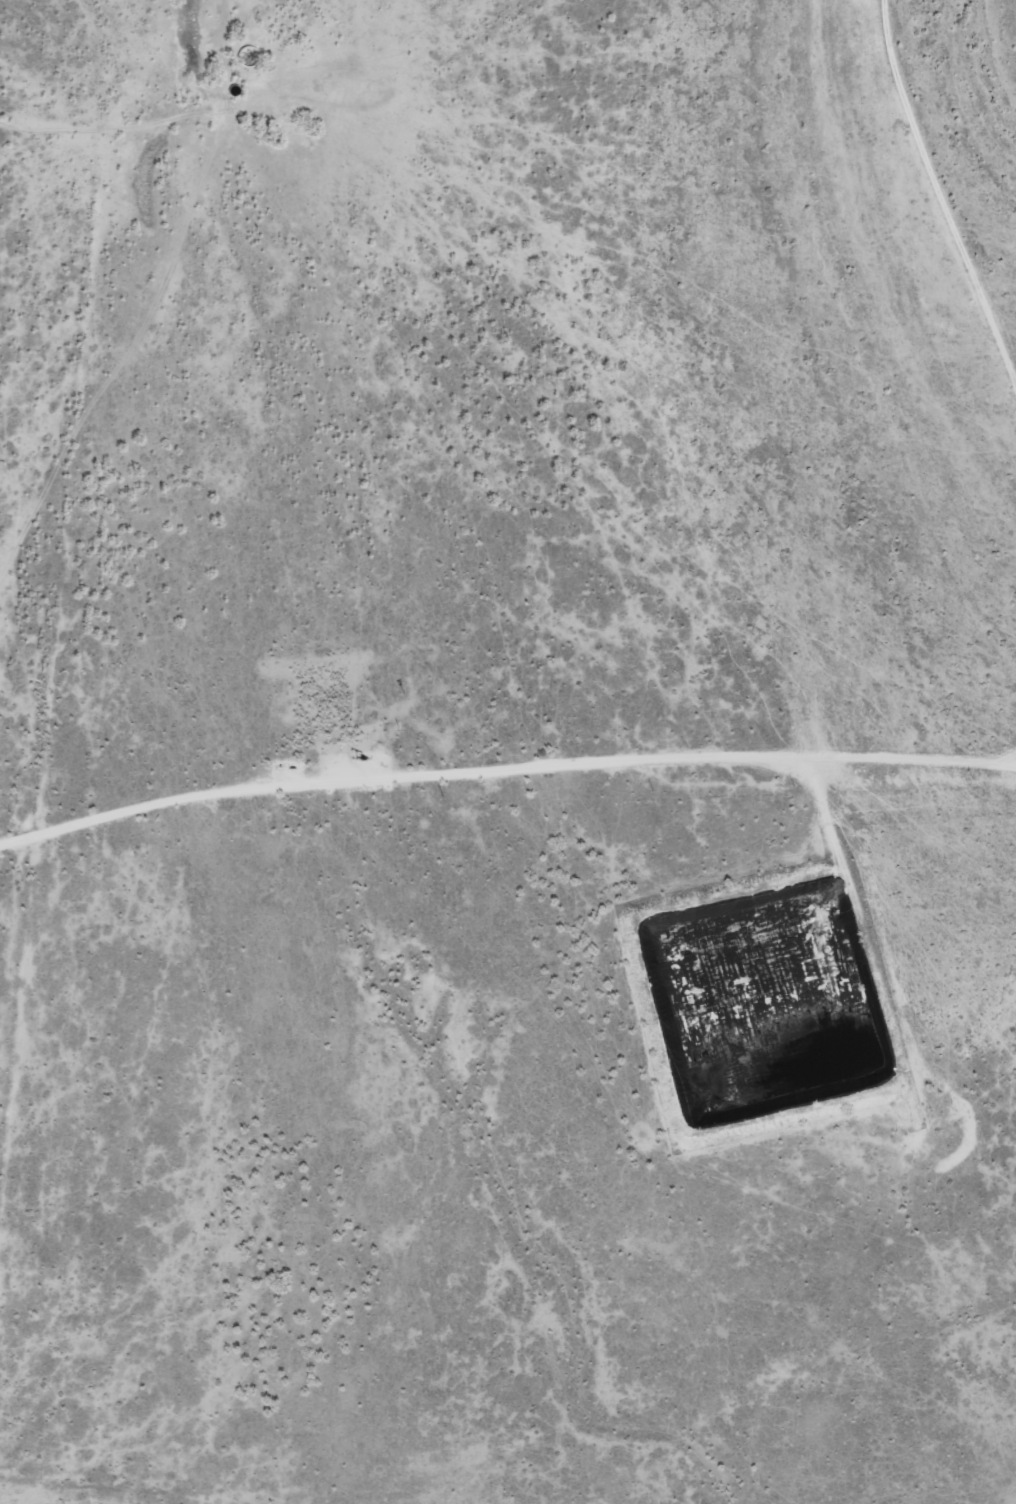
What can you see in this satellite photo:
road: (912, 270)
road: (135, 412)
road: (10, 451)
road: (508, 780)

